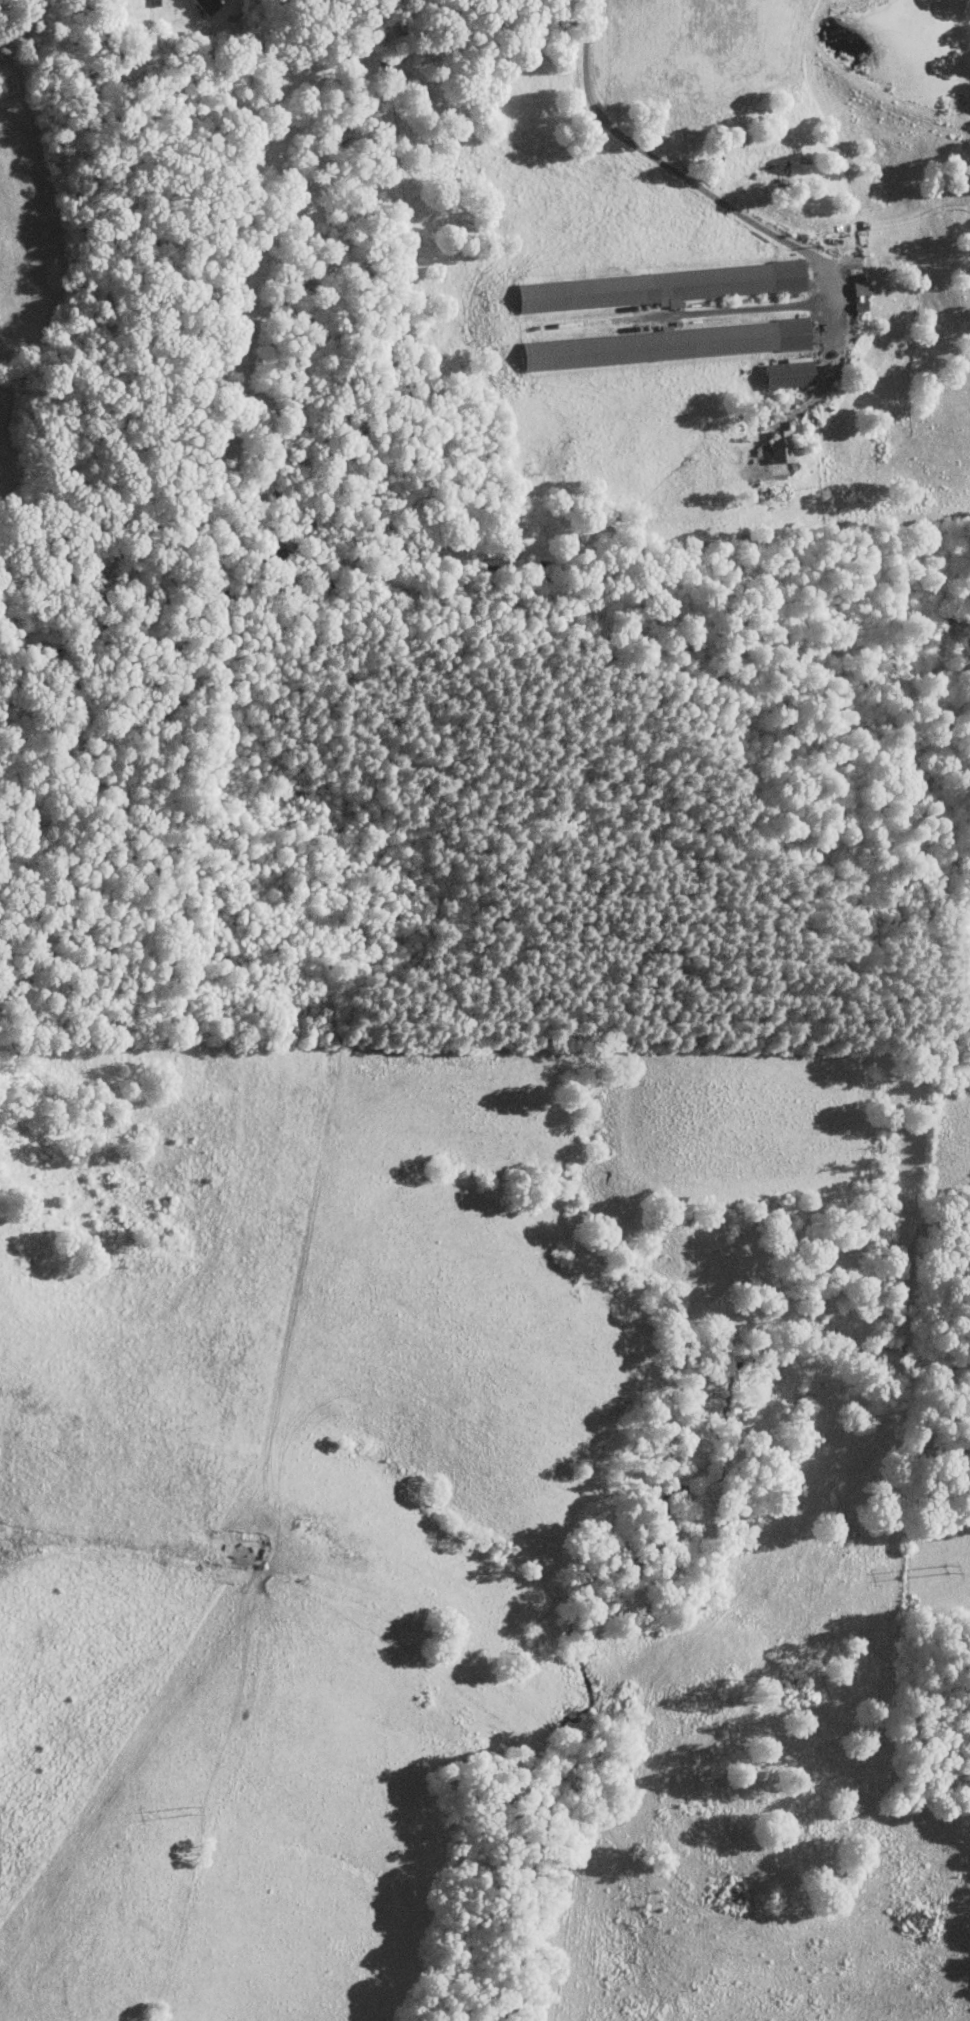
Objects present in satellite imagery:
building: (204, 5)
road: (687, 178)
building: (655, 286)
building: (857, 287)
building: (665, 343)
building: (784, 373)
building: (777, 445)

